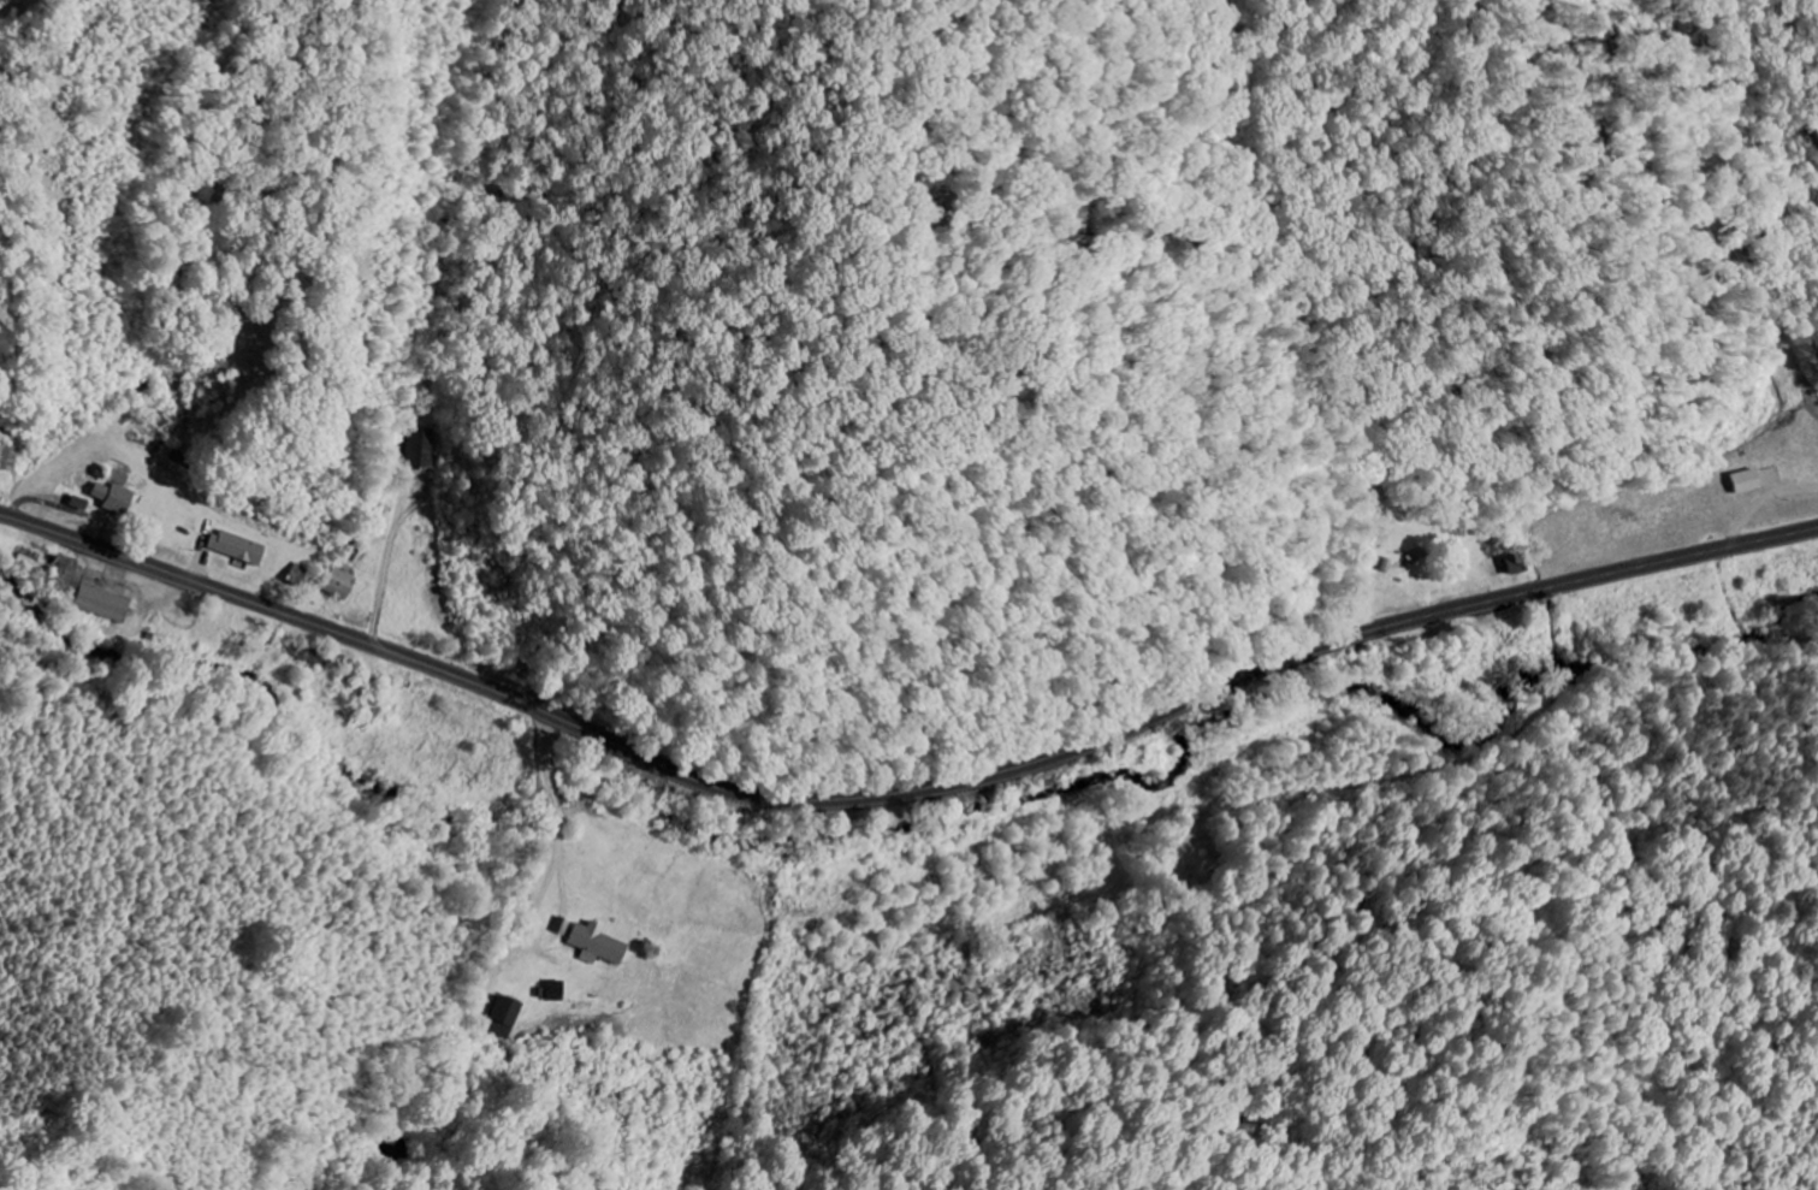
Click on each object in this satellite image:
building: (420, 449)
building: (1741, 482)
building: (117, 501)
building: (239, 550)
building: (343, 586)
building: (105, 605)
road: (902, 789)
park: (1204, 871)
building: (567, 928)
building: (603, 945)
building: (511, 1013)

